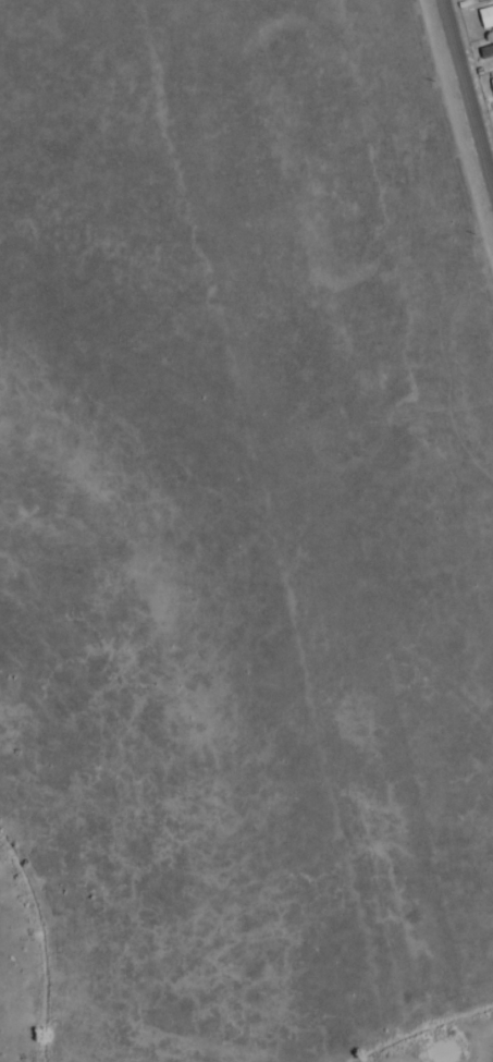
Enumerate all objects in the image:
building: (472, 0)
building: (485, 16)
building: (485, 50)
road: (467, 99)

